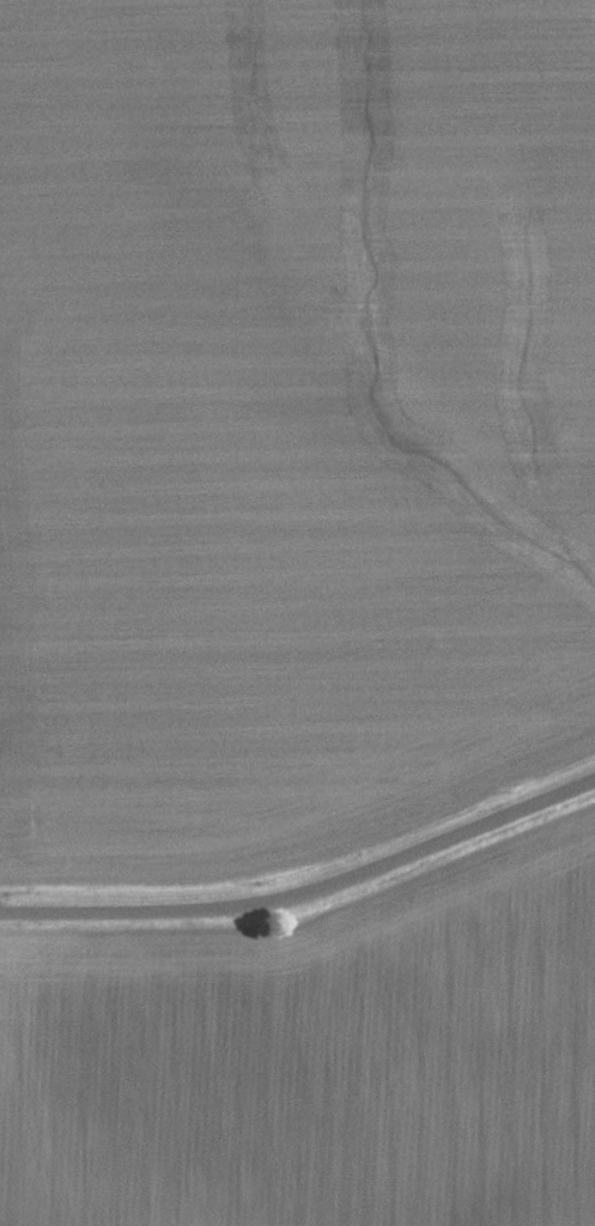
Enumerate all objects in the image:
road: (305, 881)

